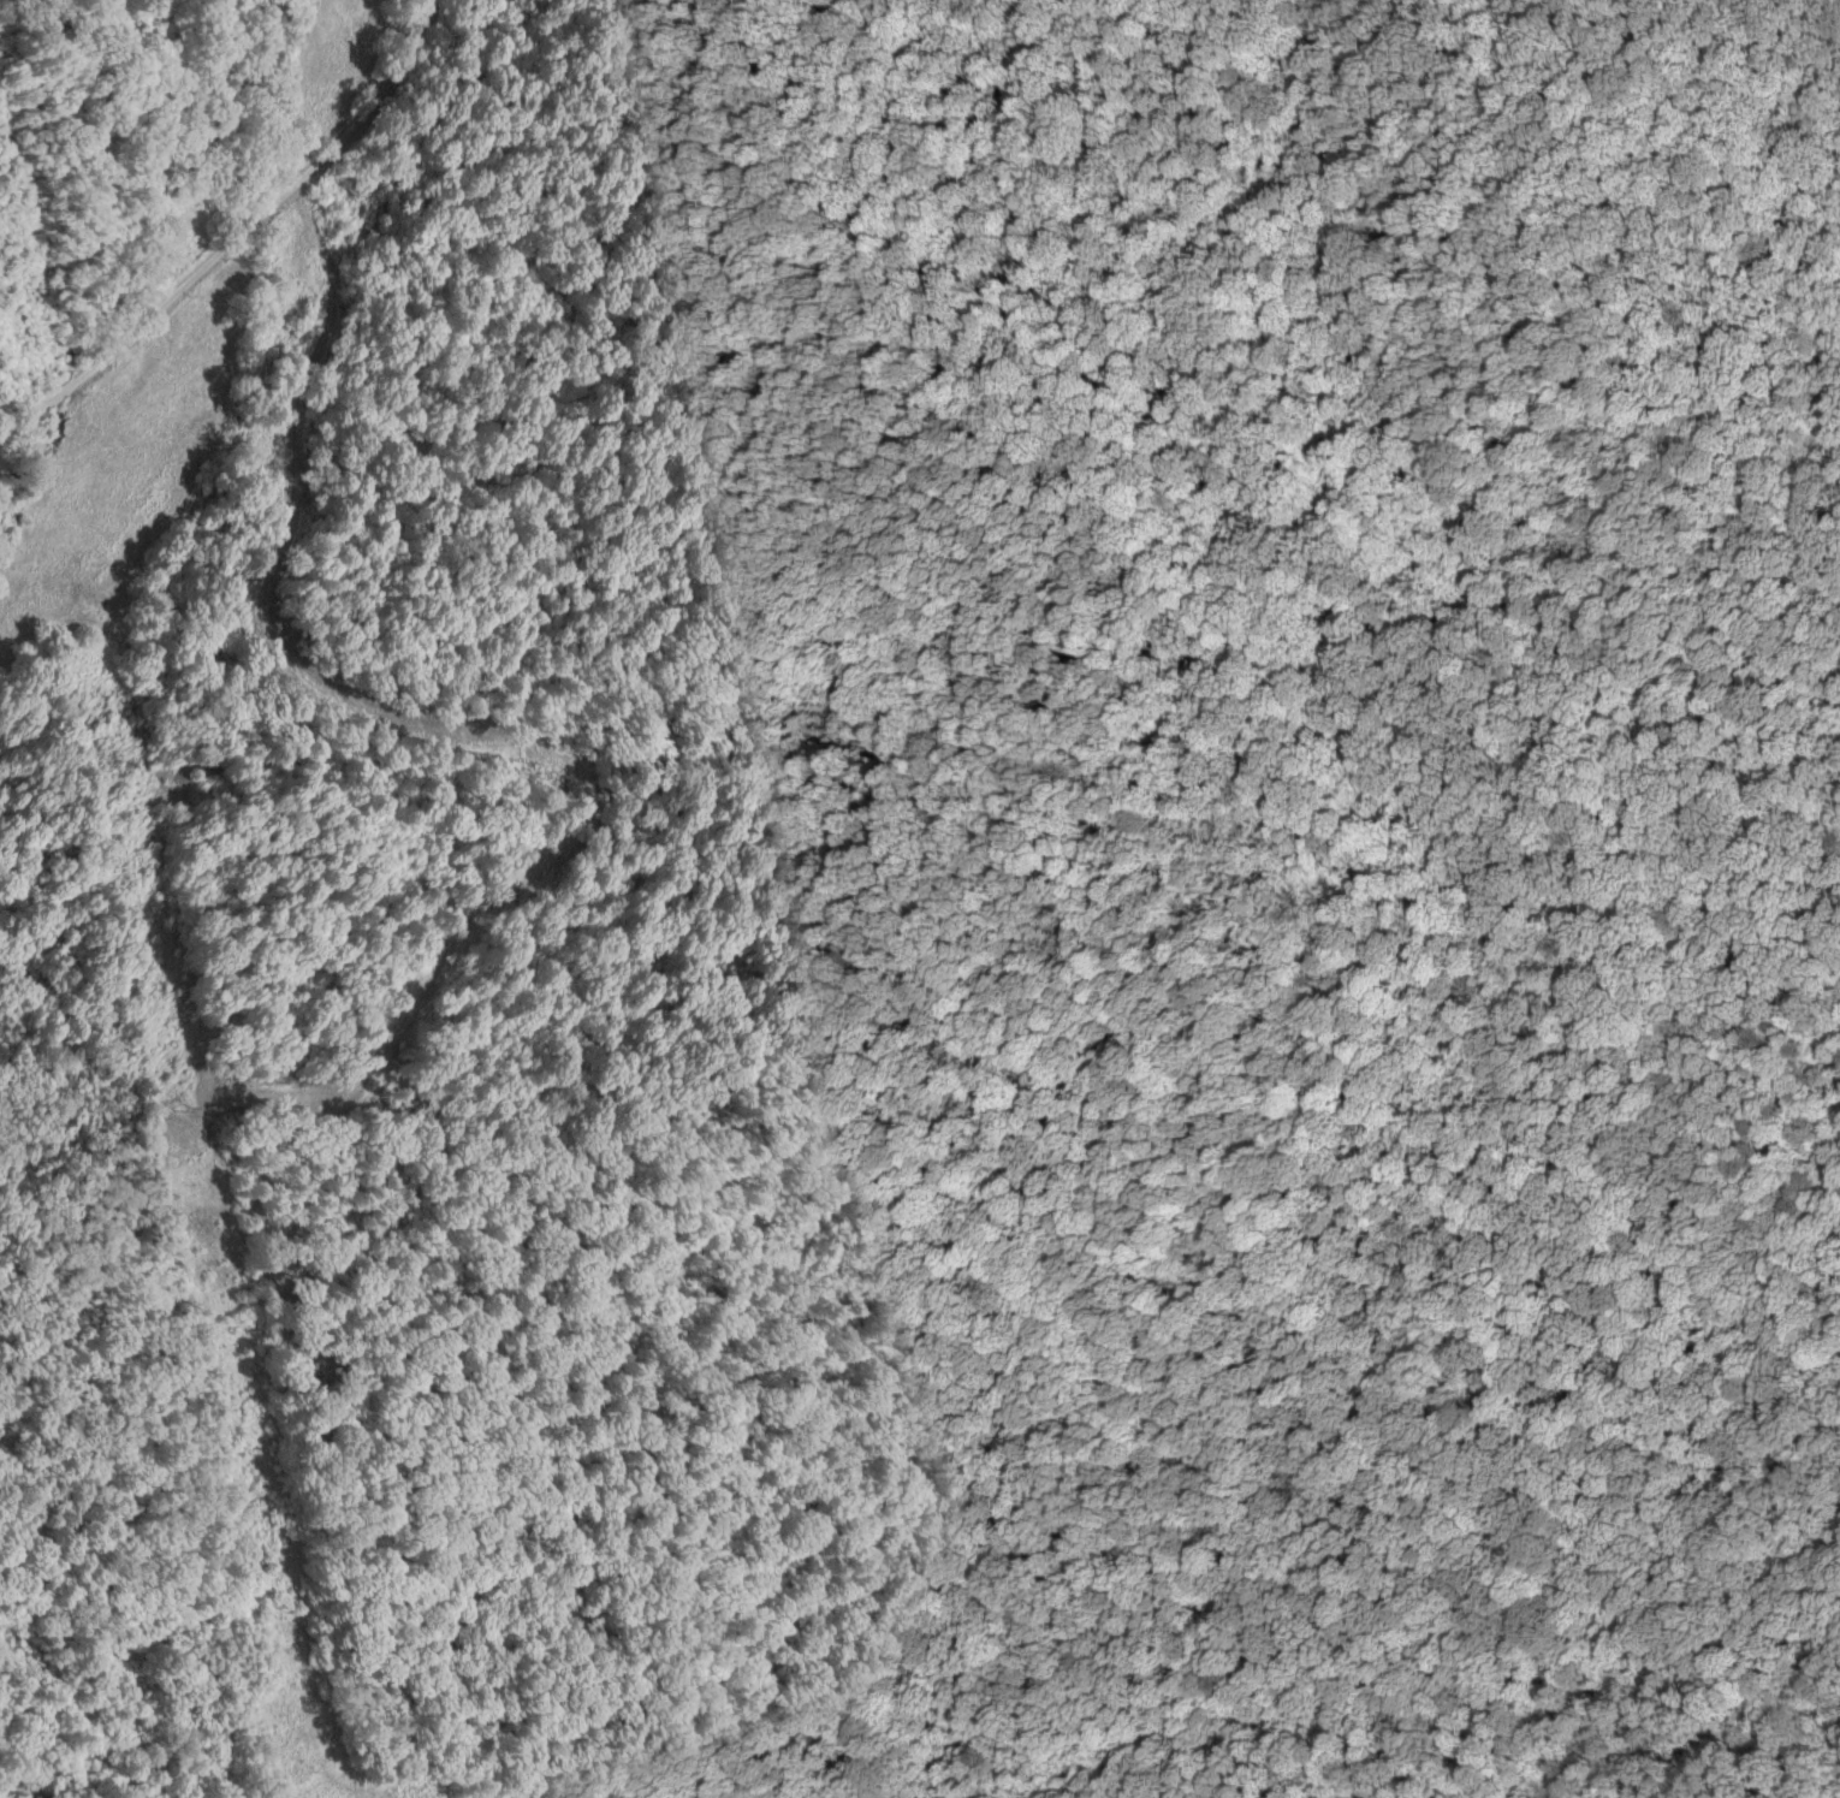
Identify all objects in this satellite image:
road: (236, 237)

